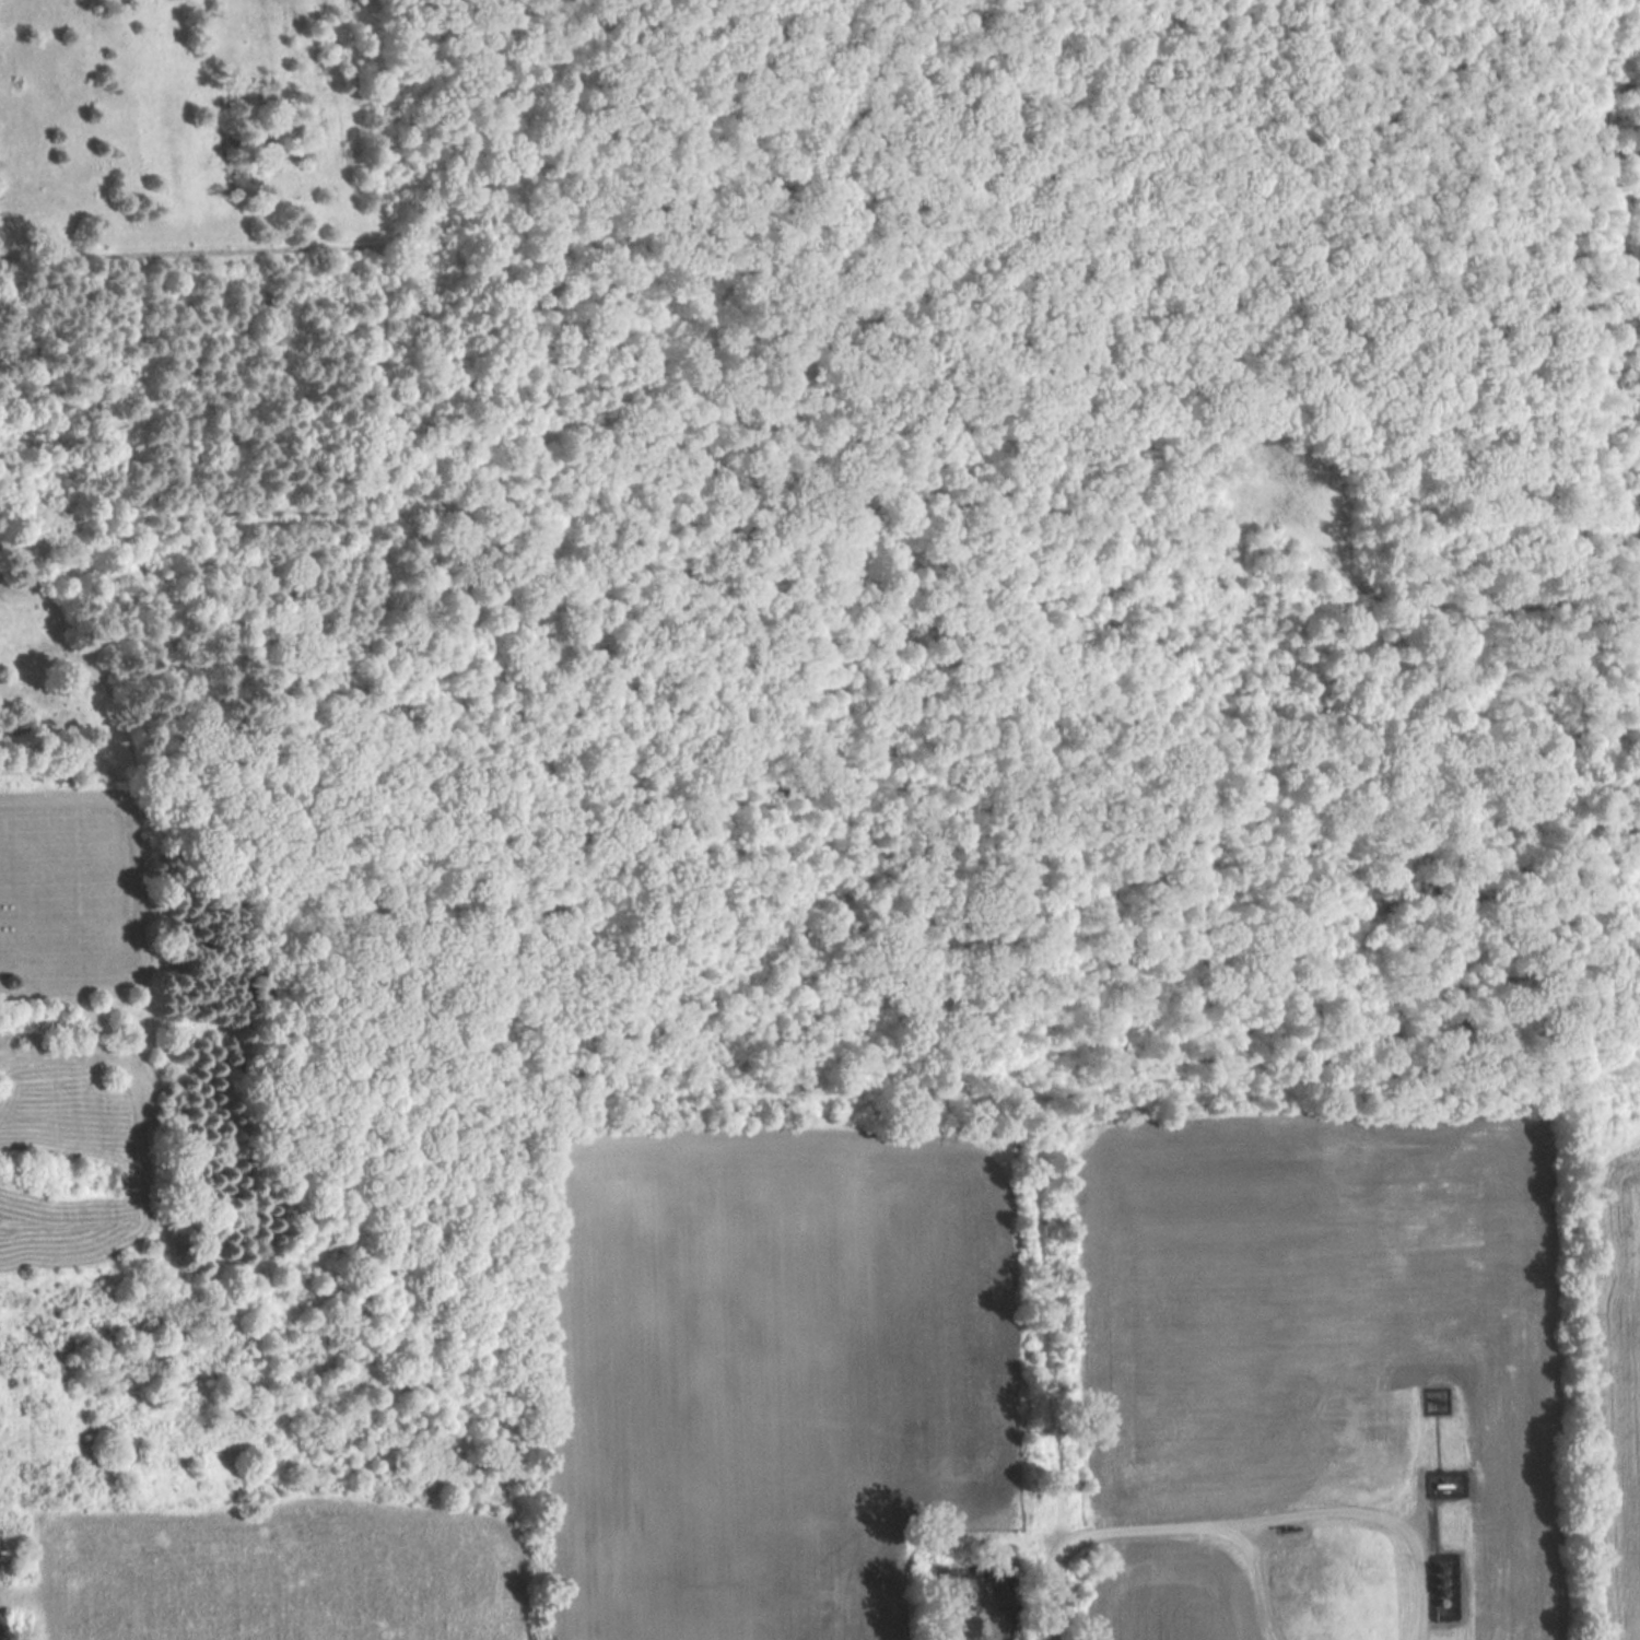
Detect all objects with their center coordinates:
road: (1379, 1515)
road: (1100, 1531)
road: (1254, 1581)

